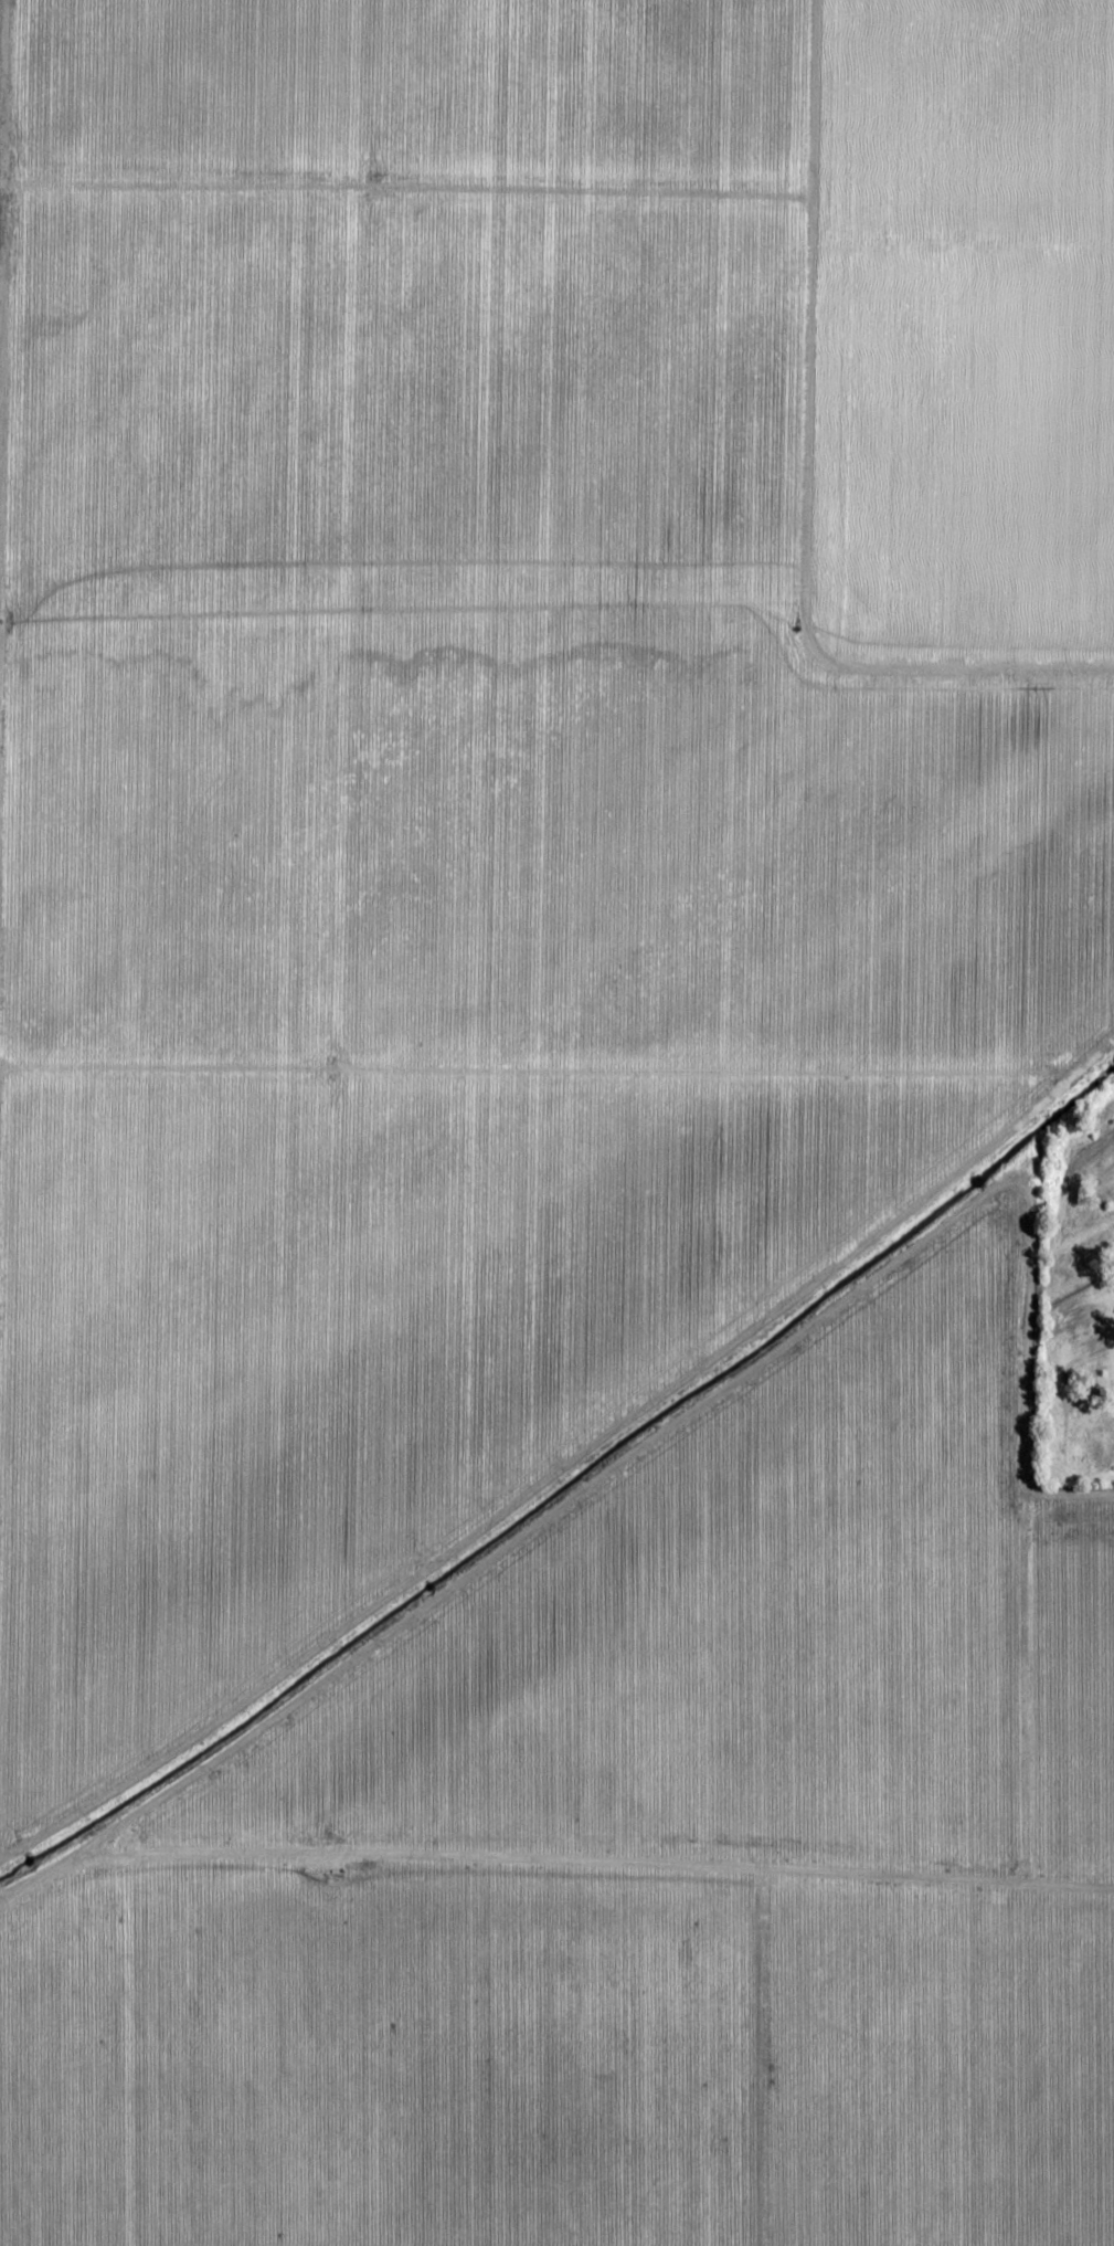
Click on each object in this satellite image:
road: (806, 481)
road: (537, 1069)

